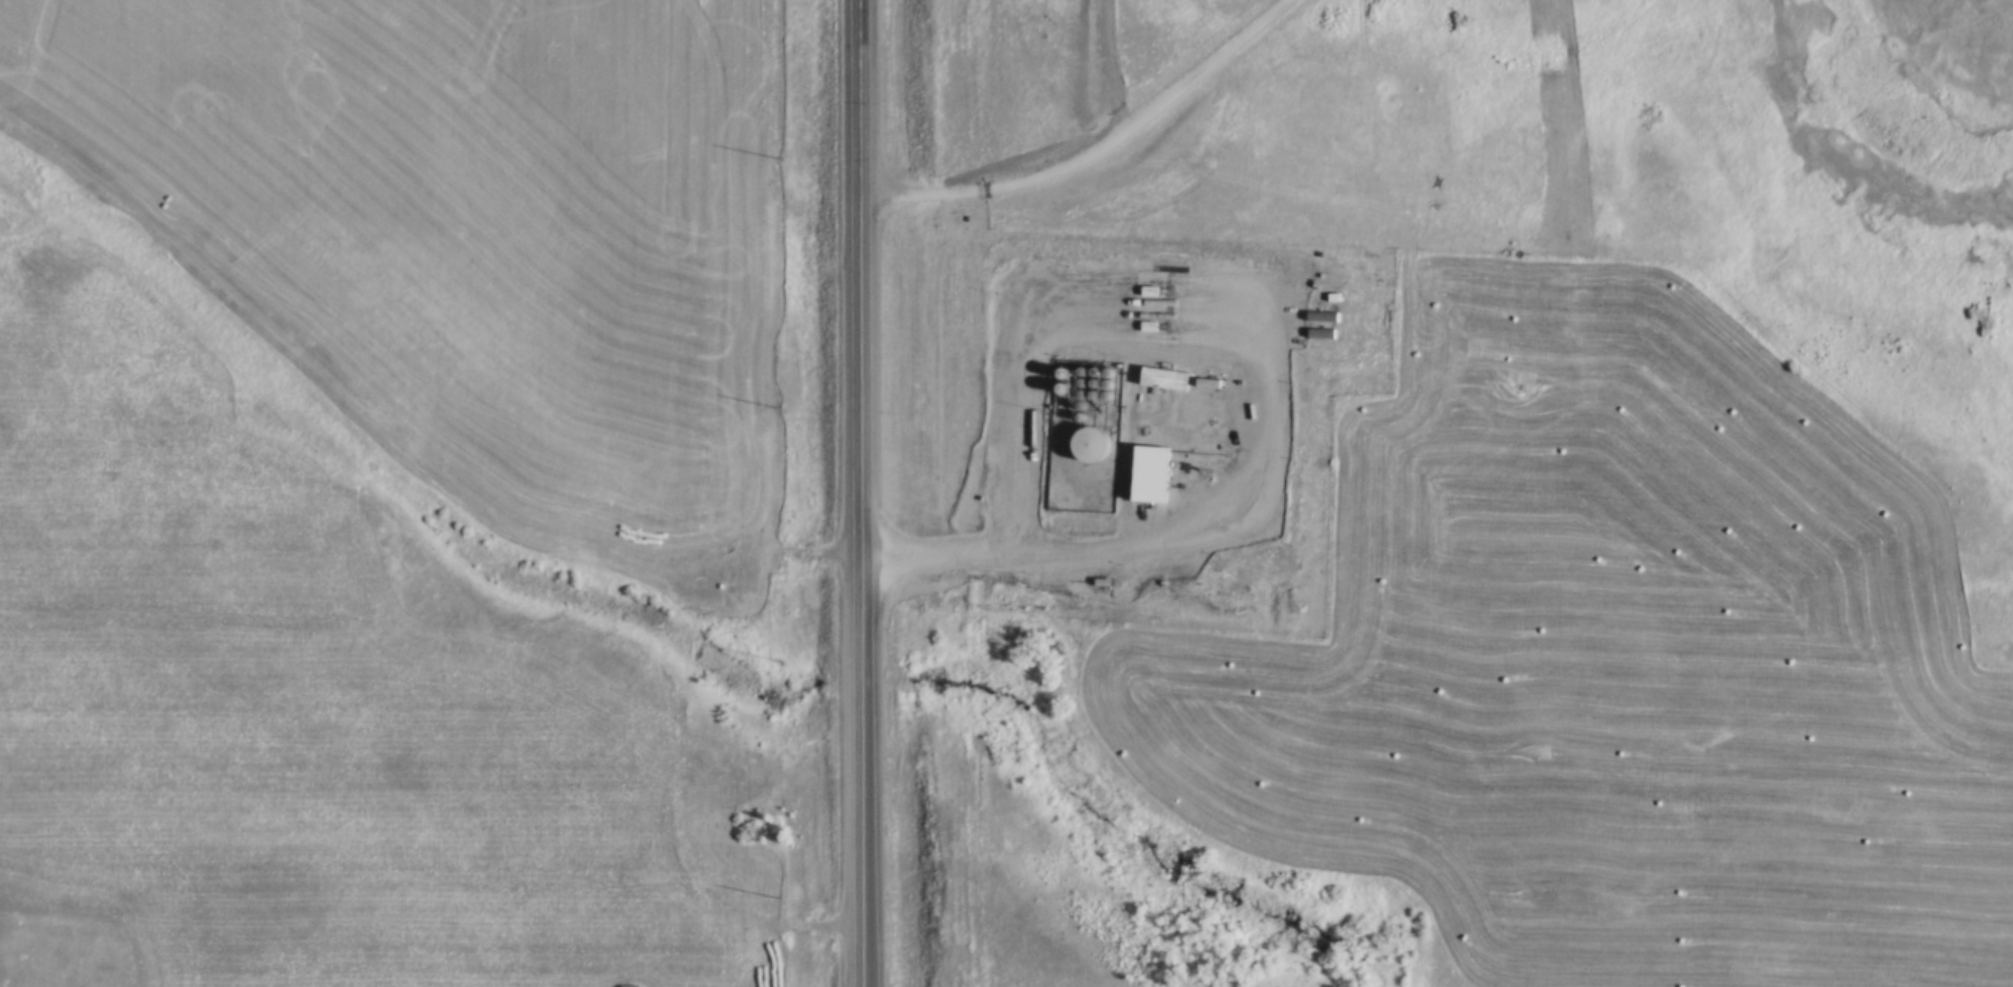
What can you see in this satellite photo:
road: (1097, 152)
road: (862, 493)
building: (627, 985)

